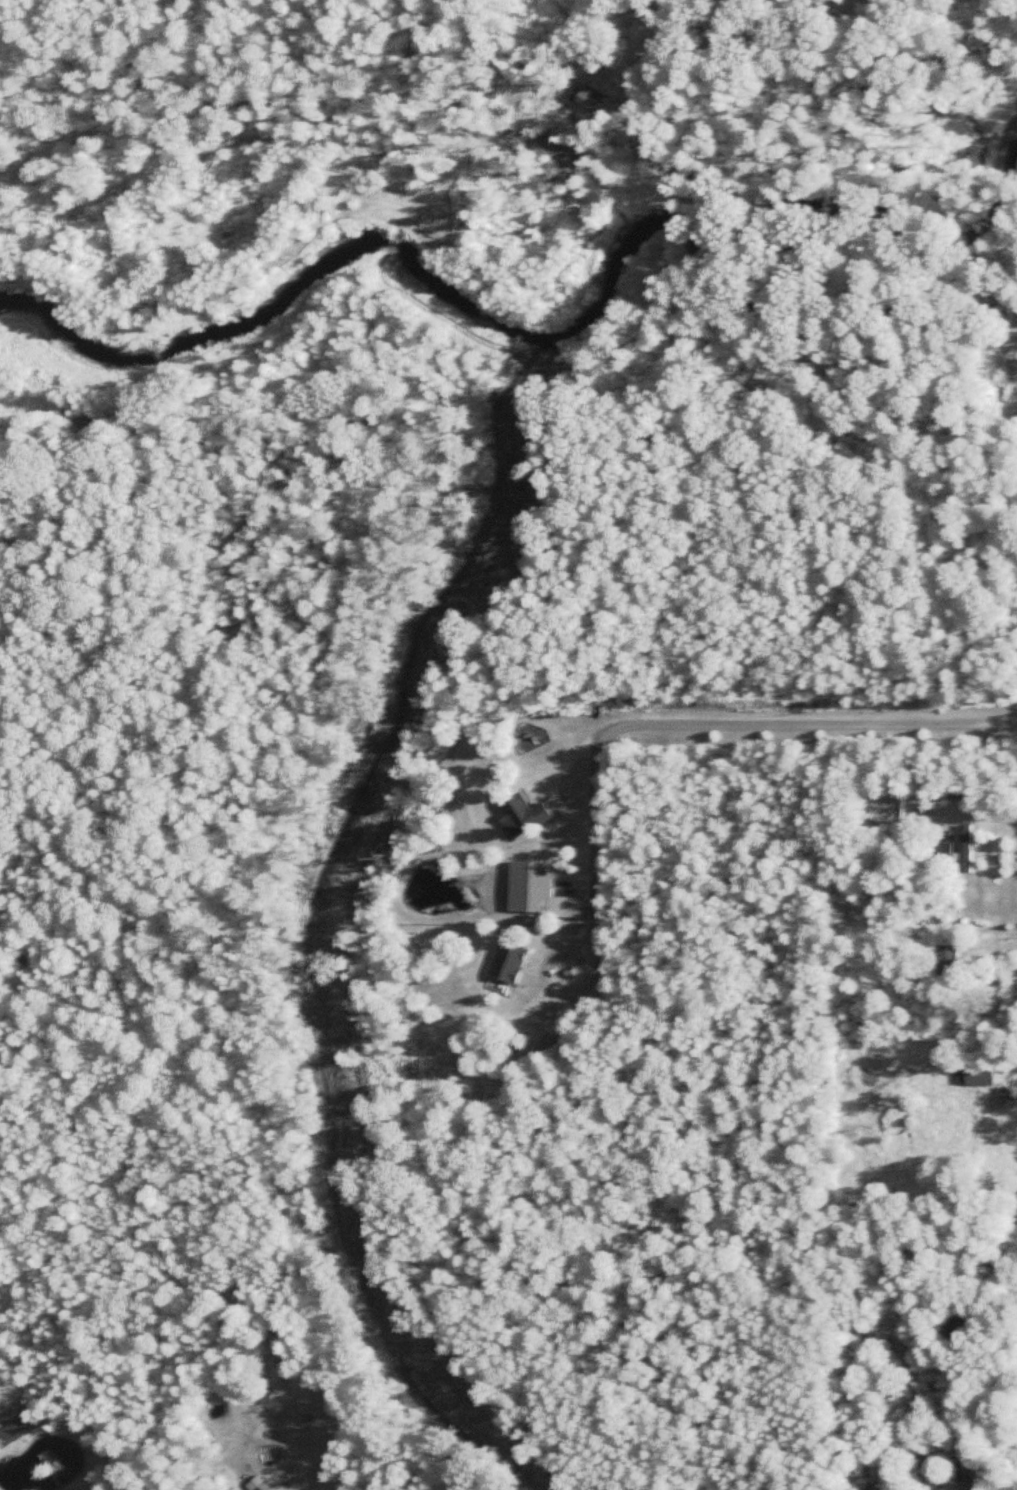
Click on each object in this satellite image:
building: (587, 96)
road: (709, 721)
road: (977, 811)
building: (520, 816)
building: (965, 849)
building: (937, 854)
building: (946, 960)
building: (505, 964)
road: (556, 991)
building: (978, 1076)
building: (952, 1327)
building: (255, 1489)

